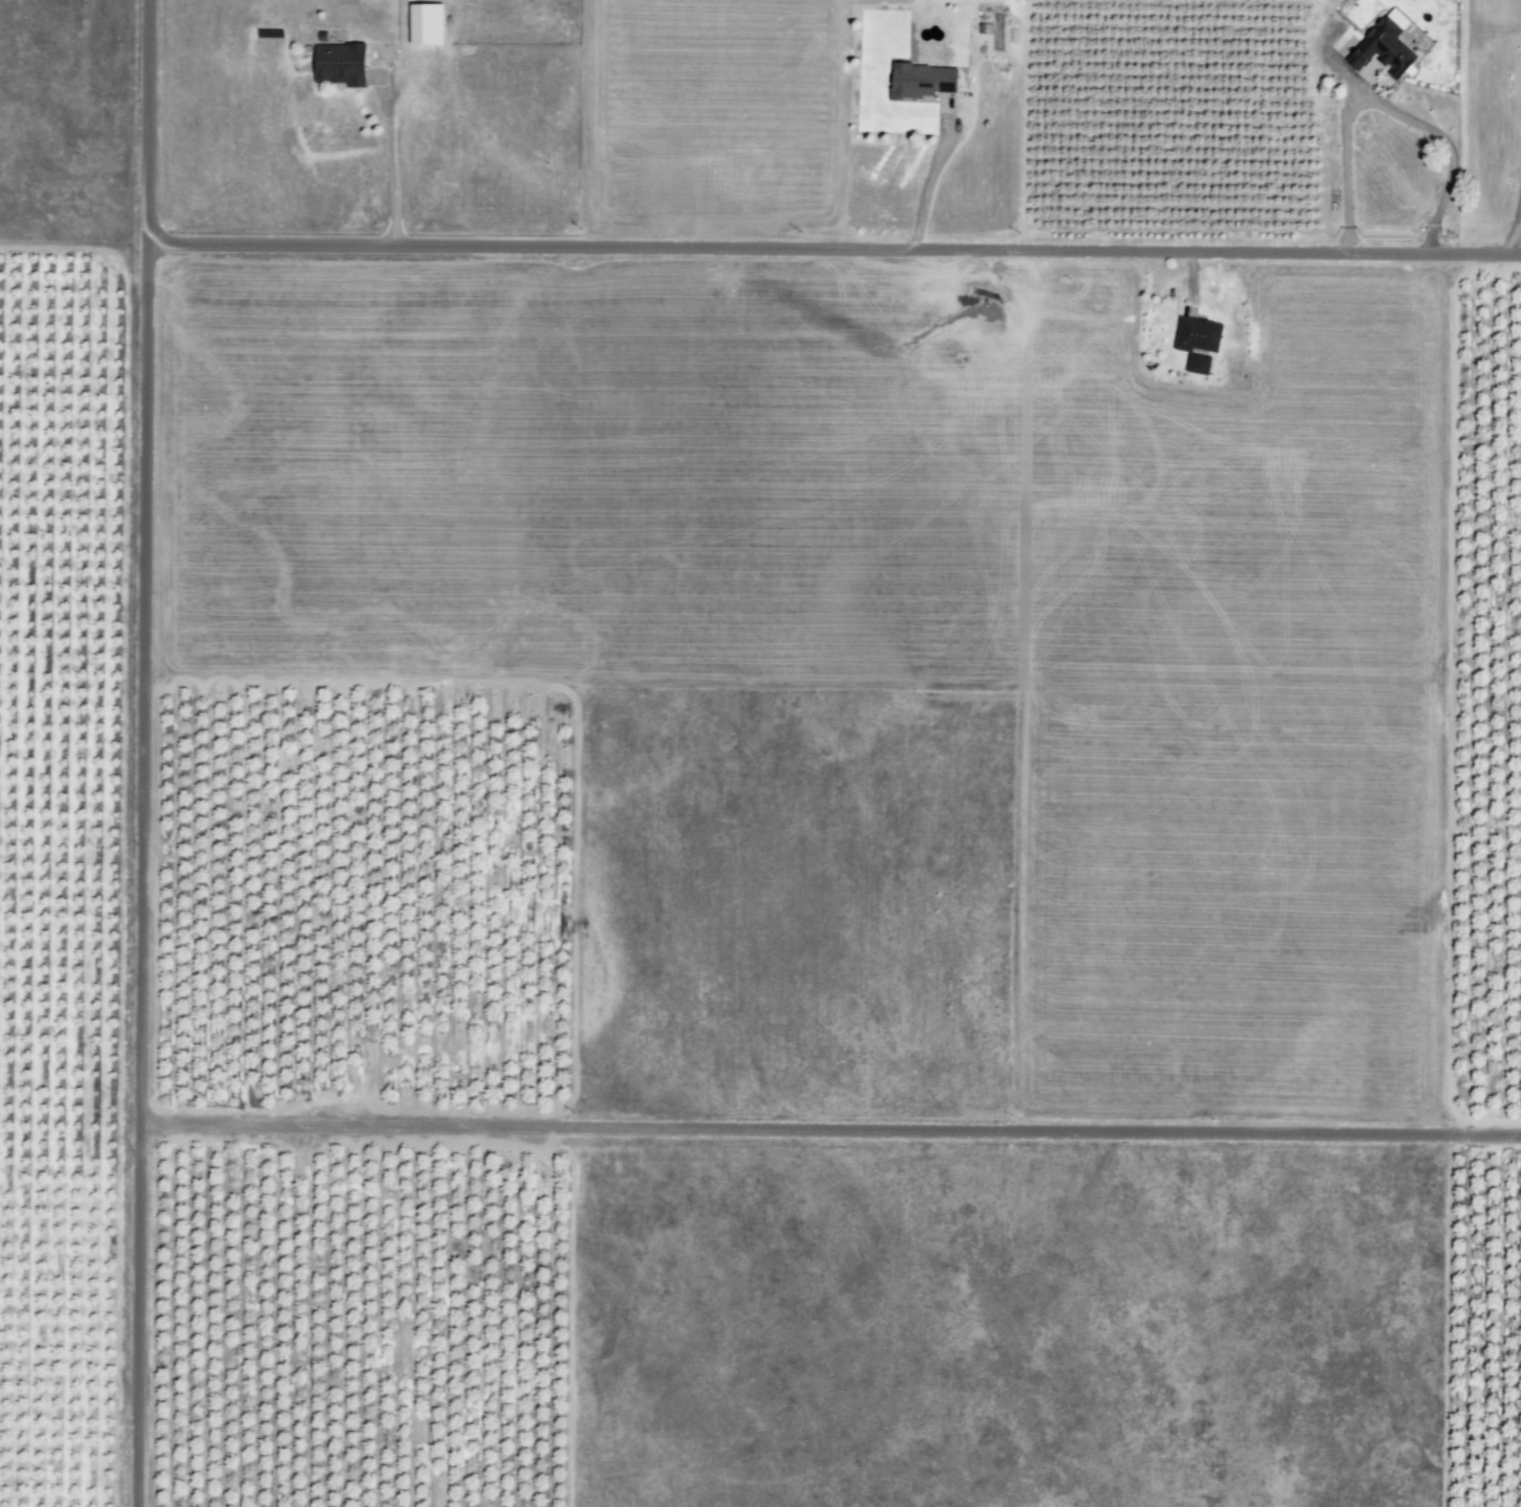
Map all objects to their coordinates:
building: (428, 23)
building: (1373, 44)
building: (342, 64)
building: (923, 79)
road: (1433, 132)
road: (389, 157)
road: (927, 174)
road: (832, 247)
building: (1193, 342)
road: (140, 753)
road: (829, 1129)

